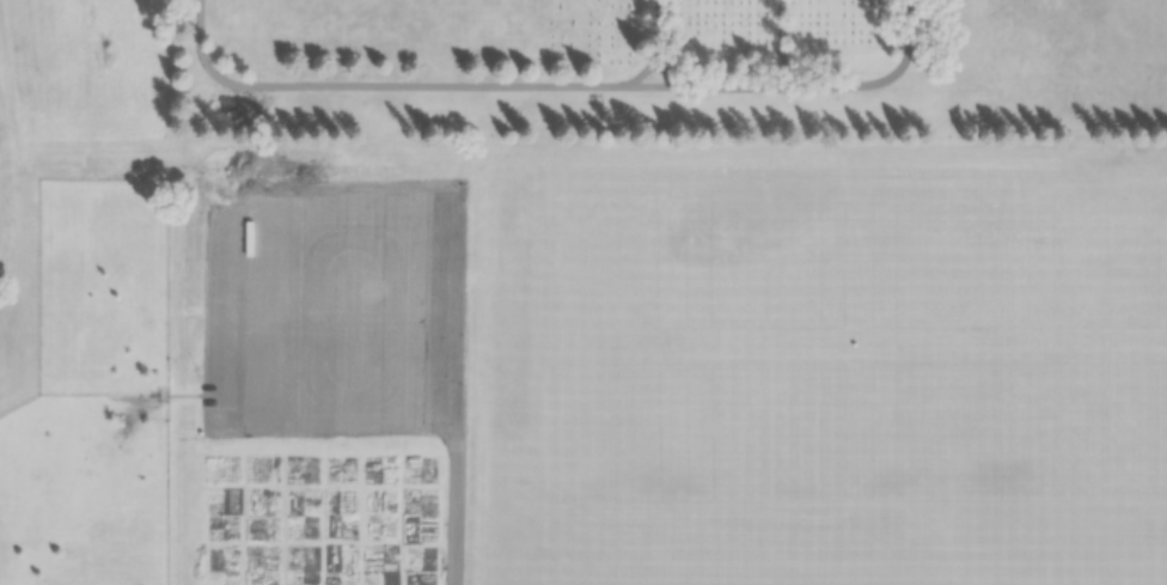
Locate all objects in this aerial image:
road: (660, 26)
road: (783, 42)
park: (668, 68)
road: (360, 80)
road: (879, 80)
road: (613, 84)
road: (713, 86)
building: (226, 231)
park: (819, 300)
parking lot: (336, 312)
park: (625, 347)
road: (459, 390)
park: (819, 505)
park: (964, 505)
park: (1111, 505)
crop: (323, 519)

